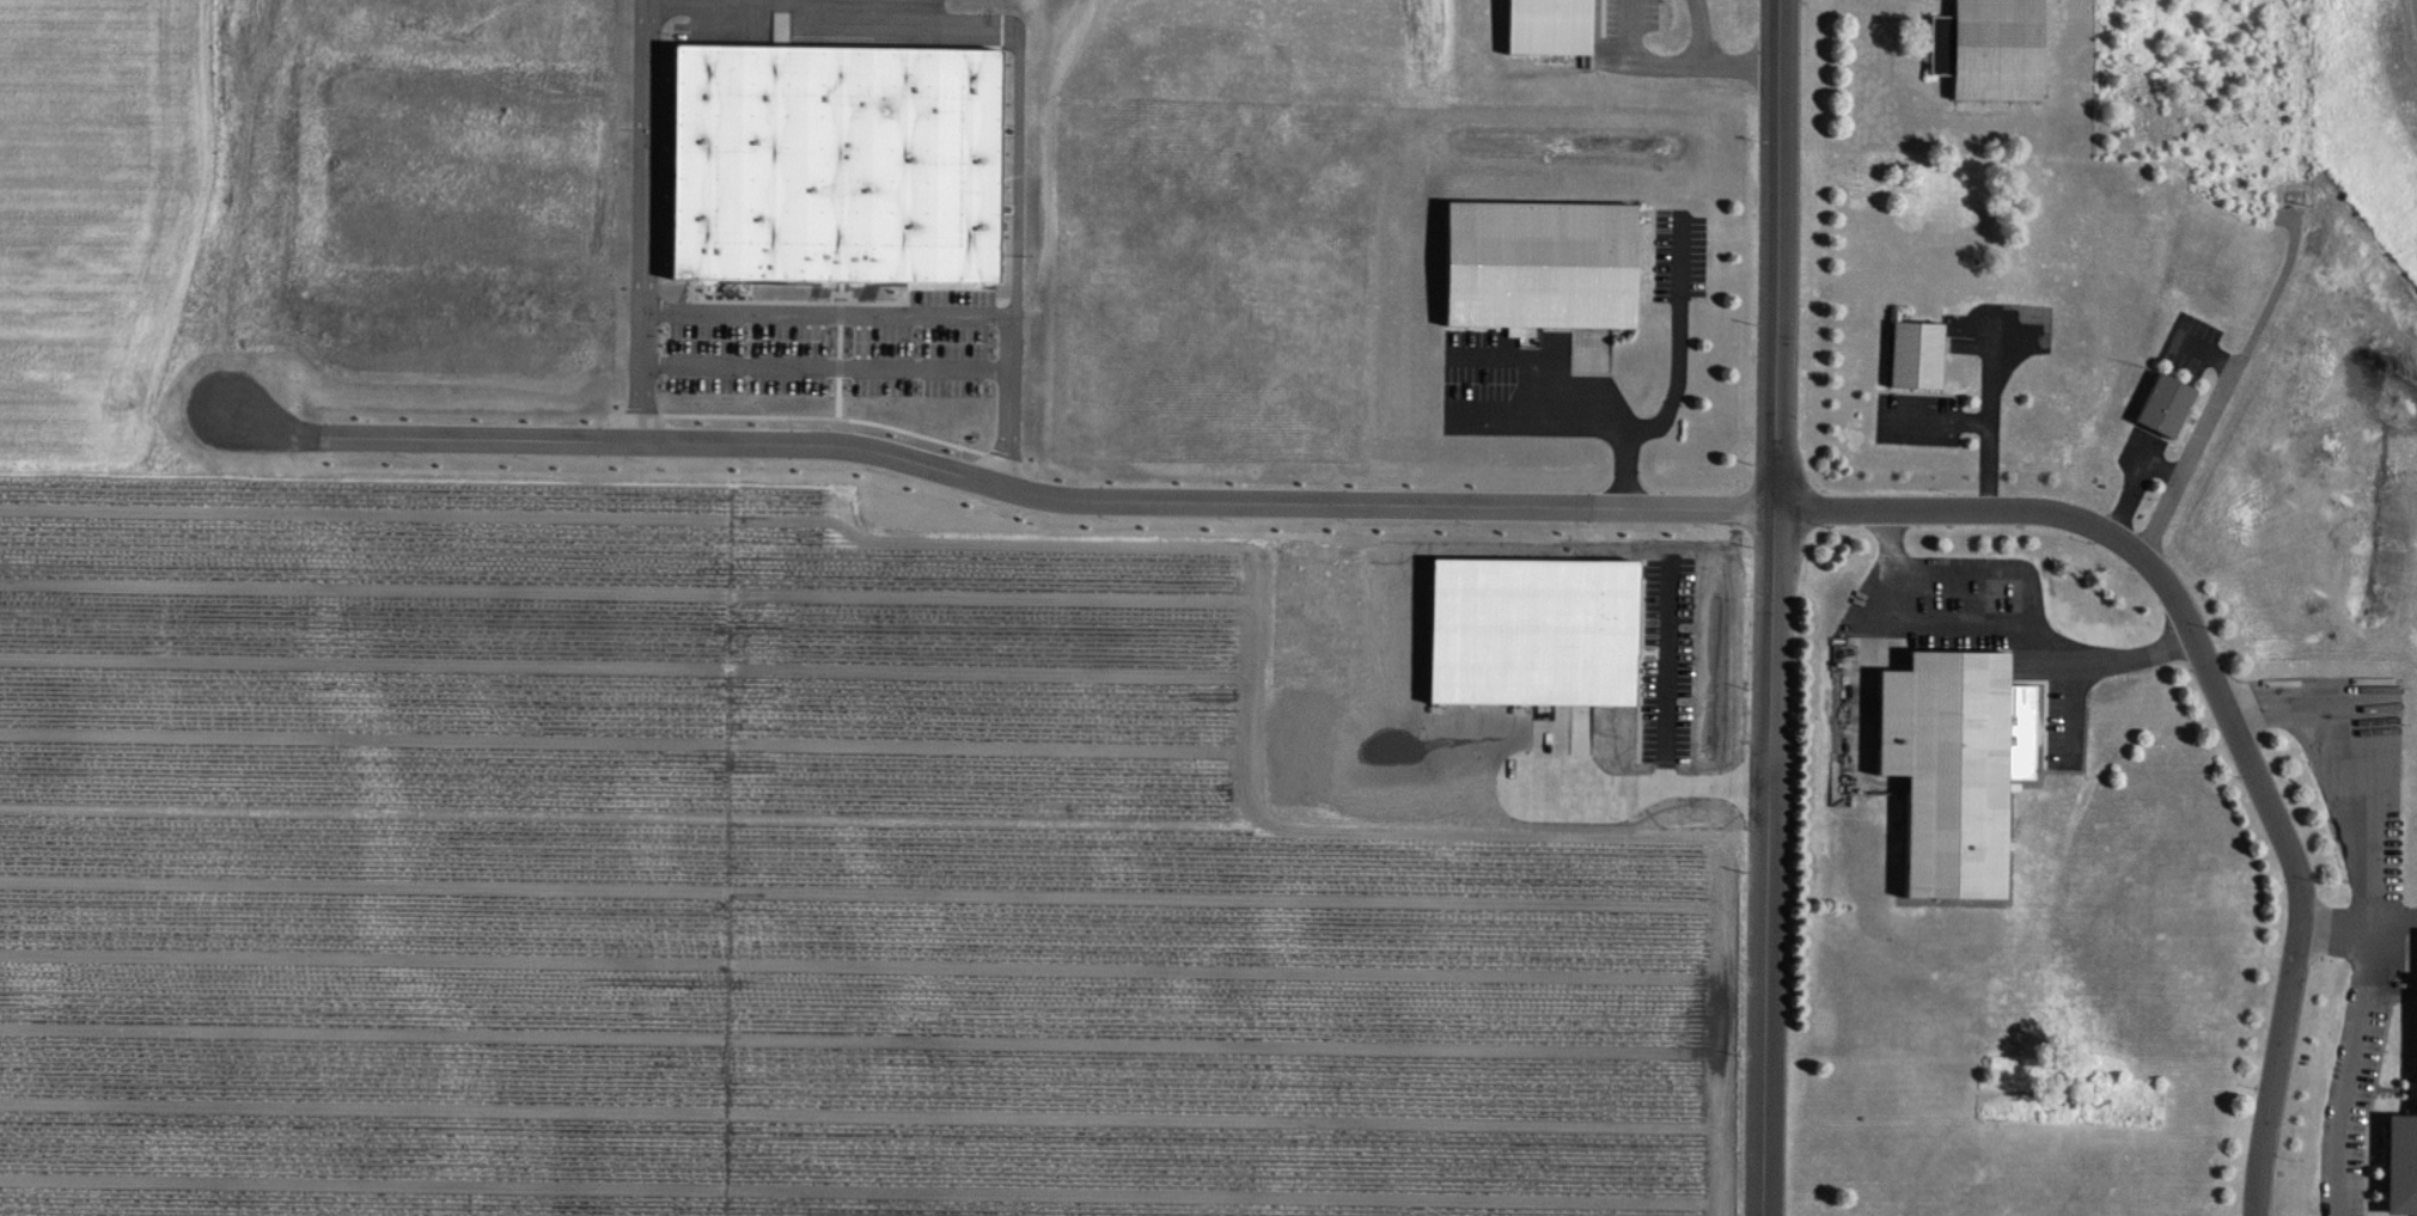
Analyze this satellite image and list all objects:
building: (1548, 26)
road: (1699, 31)
building: (1992, 49)
road: (1636, 61)
road: (1741, 63)
building: (835, 163)
building: (1538, 264)
road: (838, 312)
building: (1916, 355)
road: (1676, 383)
building: (2163, 405)
road: (1540, 426)
road: (1990, 427)
road: (999, 483)
road: (1771, 607)
road: (1995, 621)
road: (2221, 693)
building: (1949, 769)
road: (2368, 908)
road: (2393, 924)
road: (2337, 931)
building: (2415, 1088)
building: (2401, 1166)

